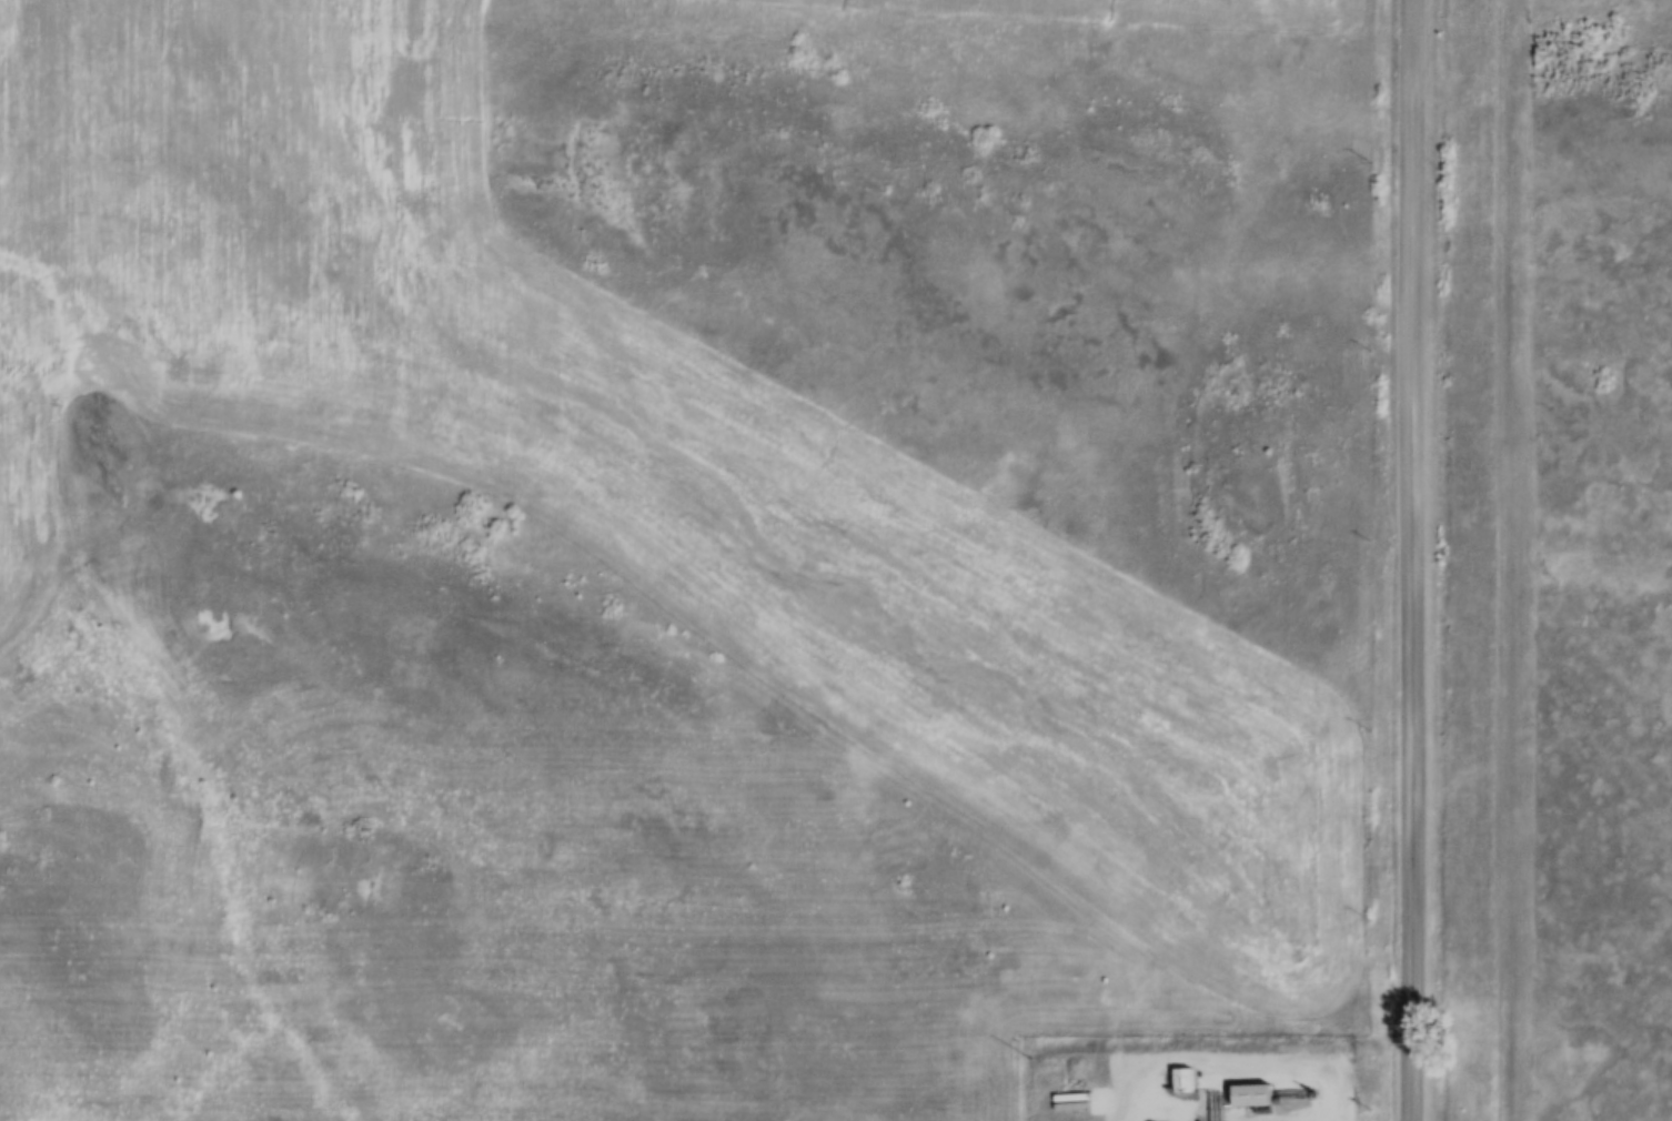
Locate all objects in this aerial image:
road: (1407, 560)

